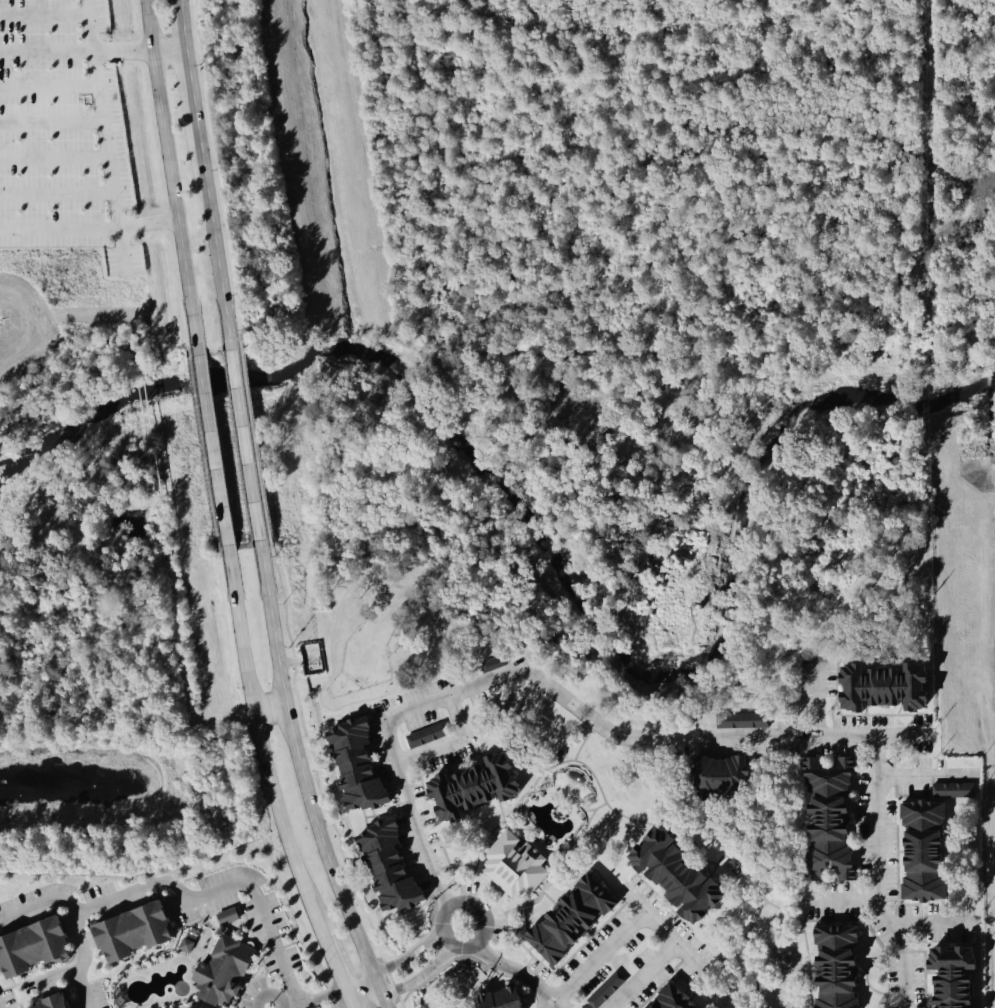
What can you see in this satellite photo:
road: (92, 24)
road: (75, 49)
road: (169, 55)
road: (97, 66)
road: (55, 122)
road: (56, 151)
road: (113, 159)
road: (204, 176)
road: (169, 179)
road: (57, 192)
road: (146, 223)
road: (244, 450)
road: (209, 452)
river: (547, 536)
building: (496, 664)
building: (892, 687)
road: (553, 694)
road: (816, 699)
road: (268, 709)
building: (745, 721)
building: (429, 736)
road: (258, 743)
road: (450, 745)
building: (363, 766)
building: (731, 774)
road: (302, 777)
road: (926, 778)
building: (484, 786)
building: (837, 818)
building: (935, 842)
building: (517, 866)
building: (395, 867)
building: (686, 875)
road: (875, 875)
road: (151, 883)
road: (838, 903)
building: (231, 917)
building: (577, 921)
road: (483, 925)
road: (930, 928)
building: (139, 933)
road: (665, 935)
building: (191, 942)
building: (37, 949)
road: (406, 958)
road: (81, 960)
road: (596, 960)
road: (332, 961)
building: (845, 967)
road: (286, 970)
building: (228, 972)
road: (516, 974)
building: (963, 976)
road: (644, 977)
road: (419, 978)
road: (356, 982)
building: (608, 991)
road: (348, 997)
road: (320, 998)
building: (509, 998)
building: (679, 999)
building: (59, 1003)
road: (367, 1003)
road: (380, 1003)
building: (212, 1007)

